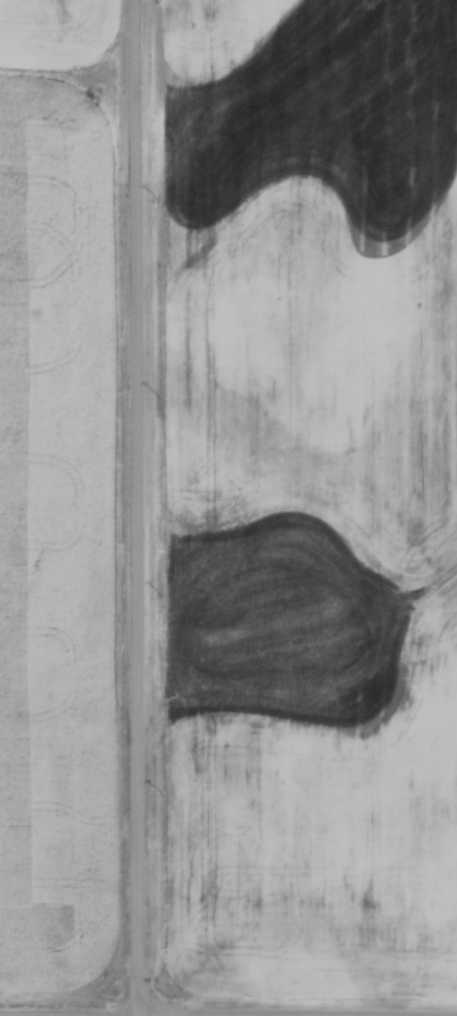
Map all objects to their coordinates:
road: (137, 508)
road: (33, 1015)

